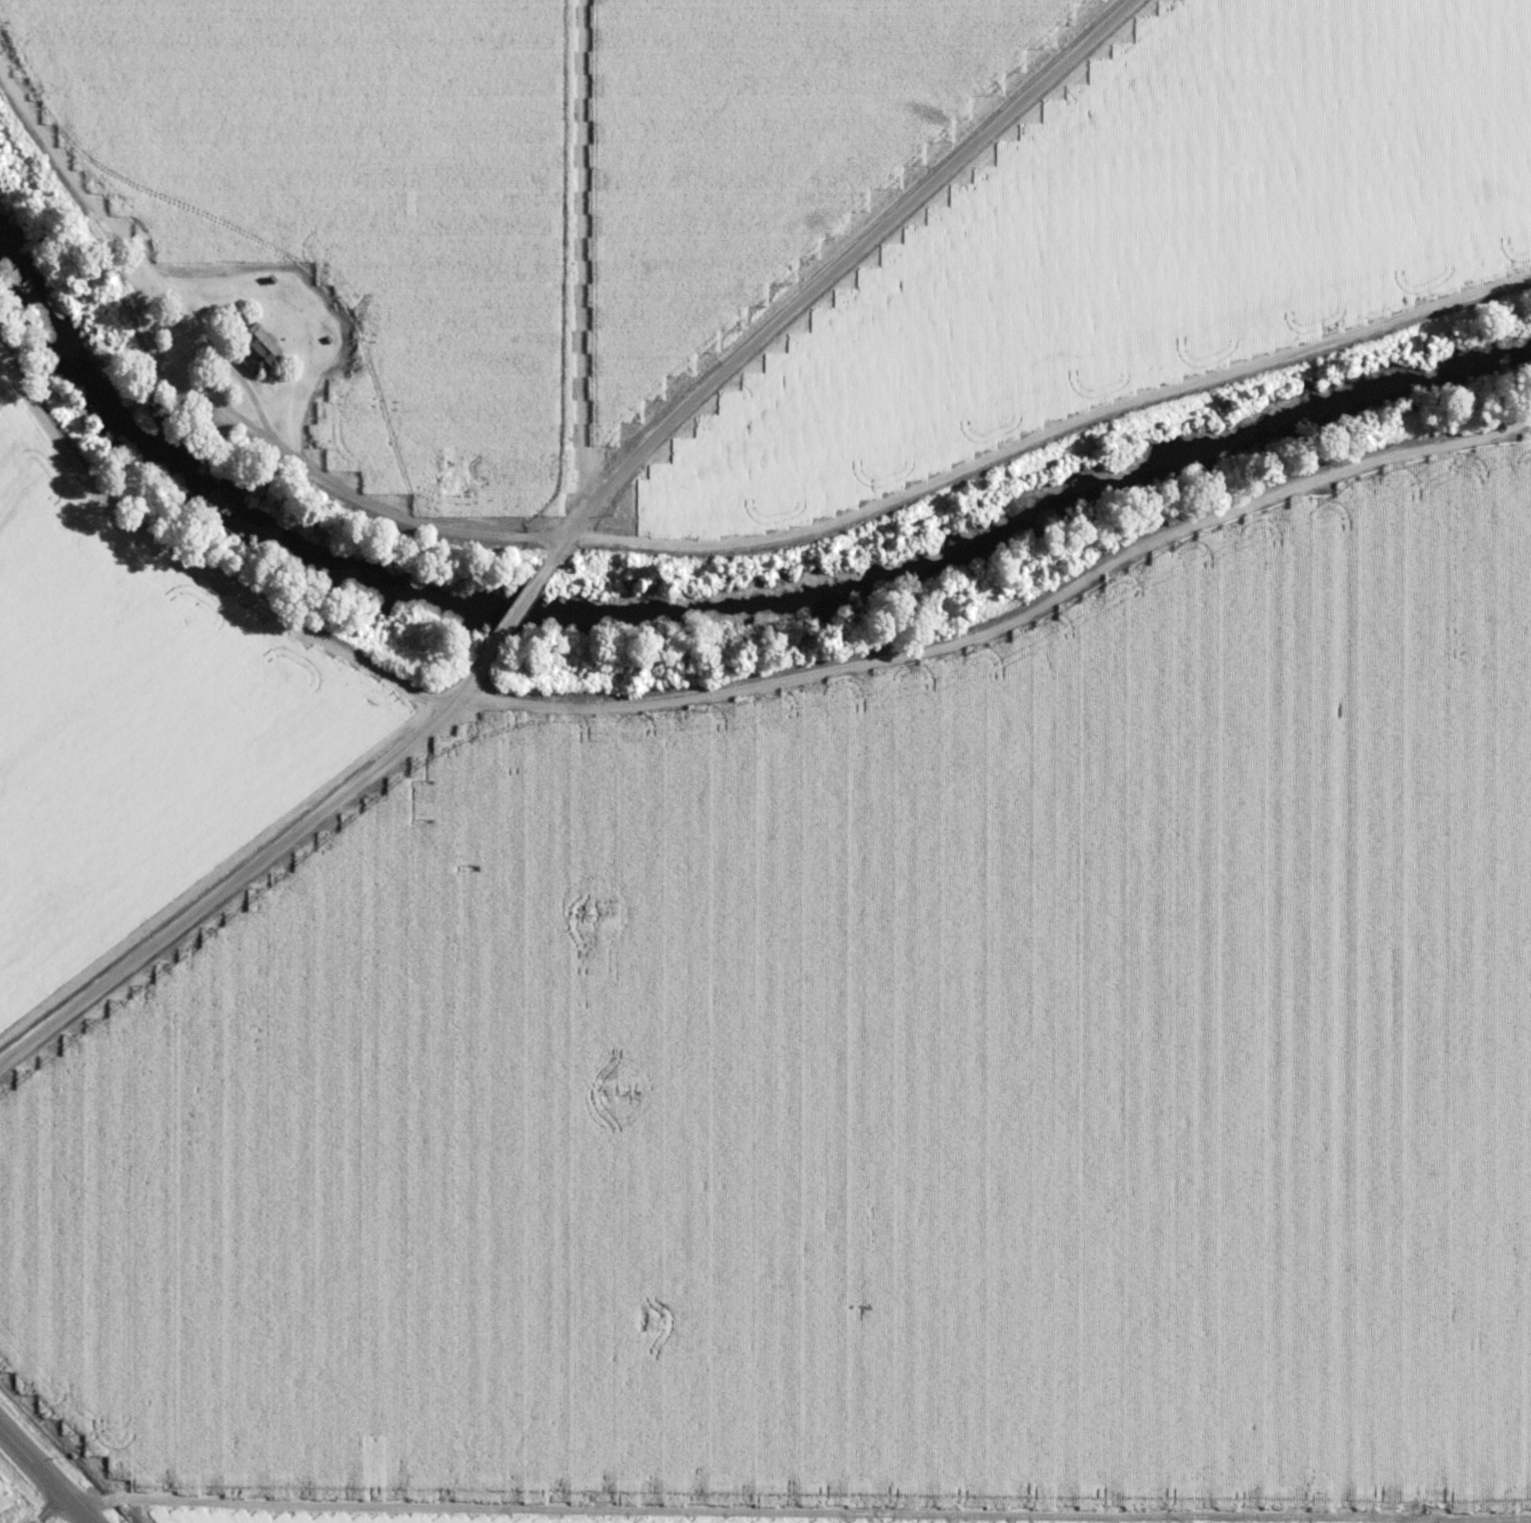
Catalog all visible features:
road: (820, 275)
building: (251, 347)
road: (1514, 477)
road: (680, 552)
road: (195, 567)
river: (694, 611)
road: (509, 615)
road: (1002, 624)
road: (463, 679)
road: (225, 884)
road: (44, 1476)
road: (776, 1503)

